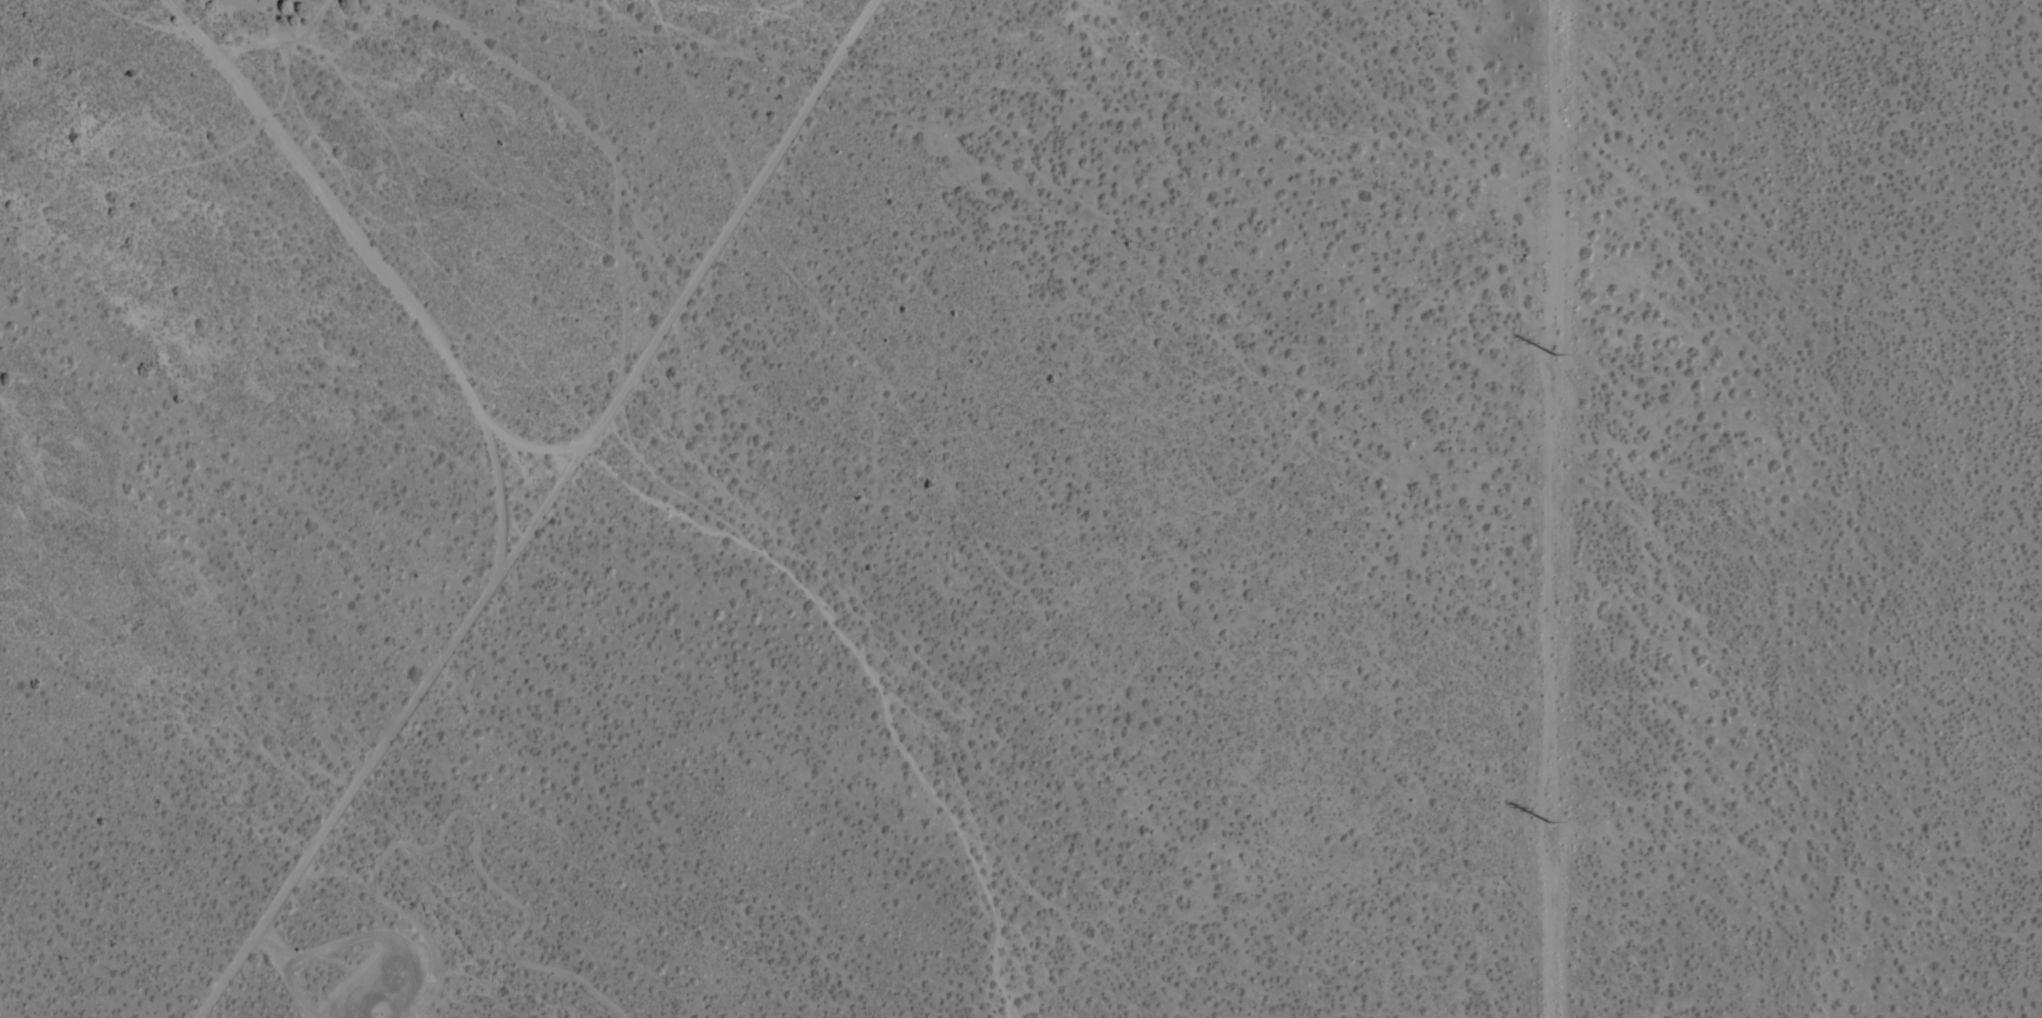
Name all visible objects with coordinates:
road: (725, 229)
road: (383, 269)
power tower: (1554, 352)
road: (528, 454)
road: (535, 518)
road: (873, 677)
road: (348, 798)
power tower: (1551, 817)

